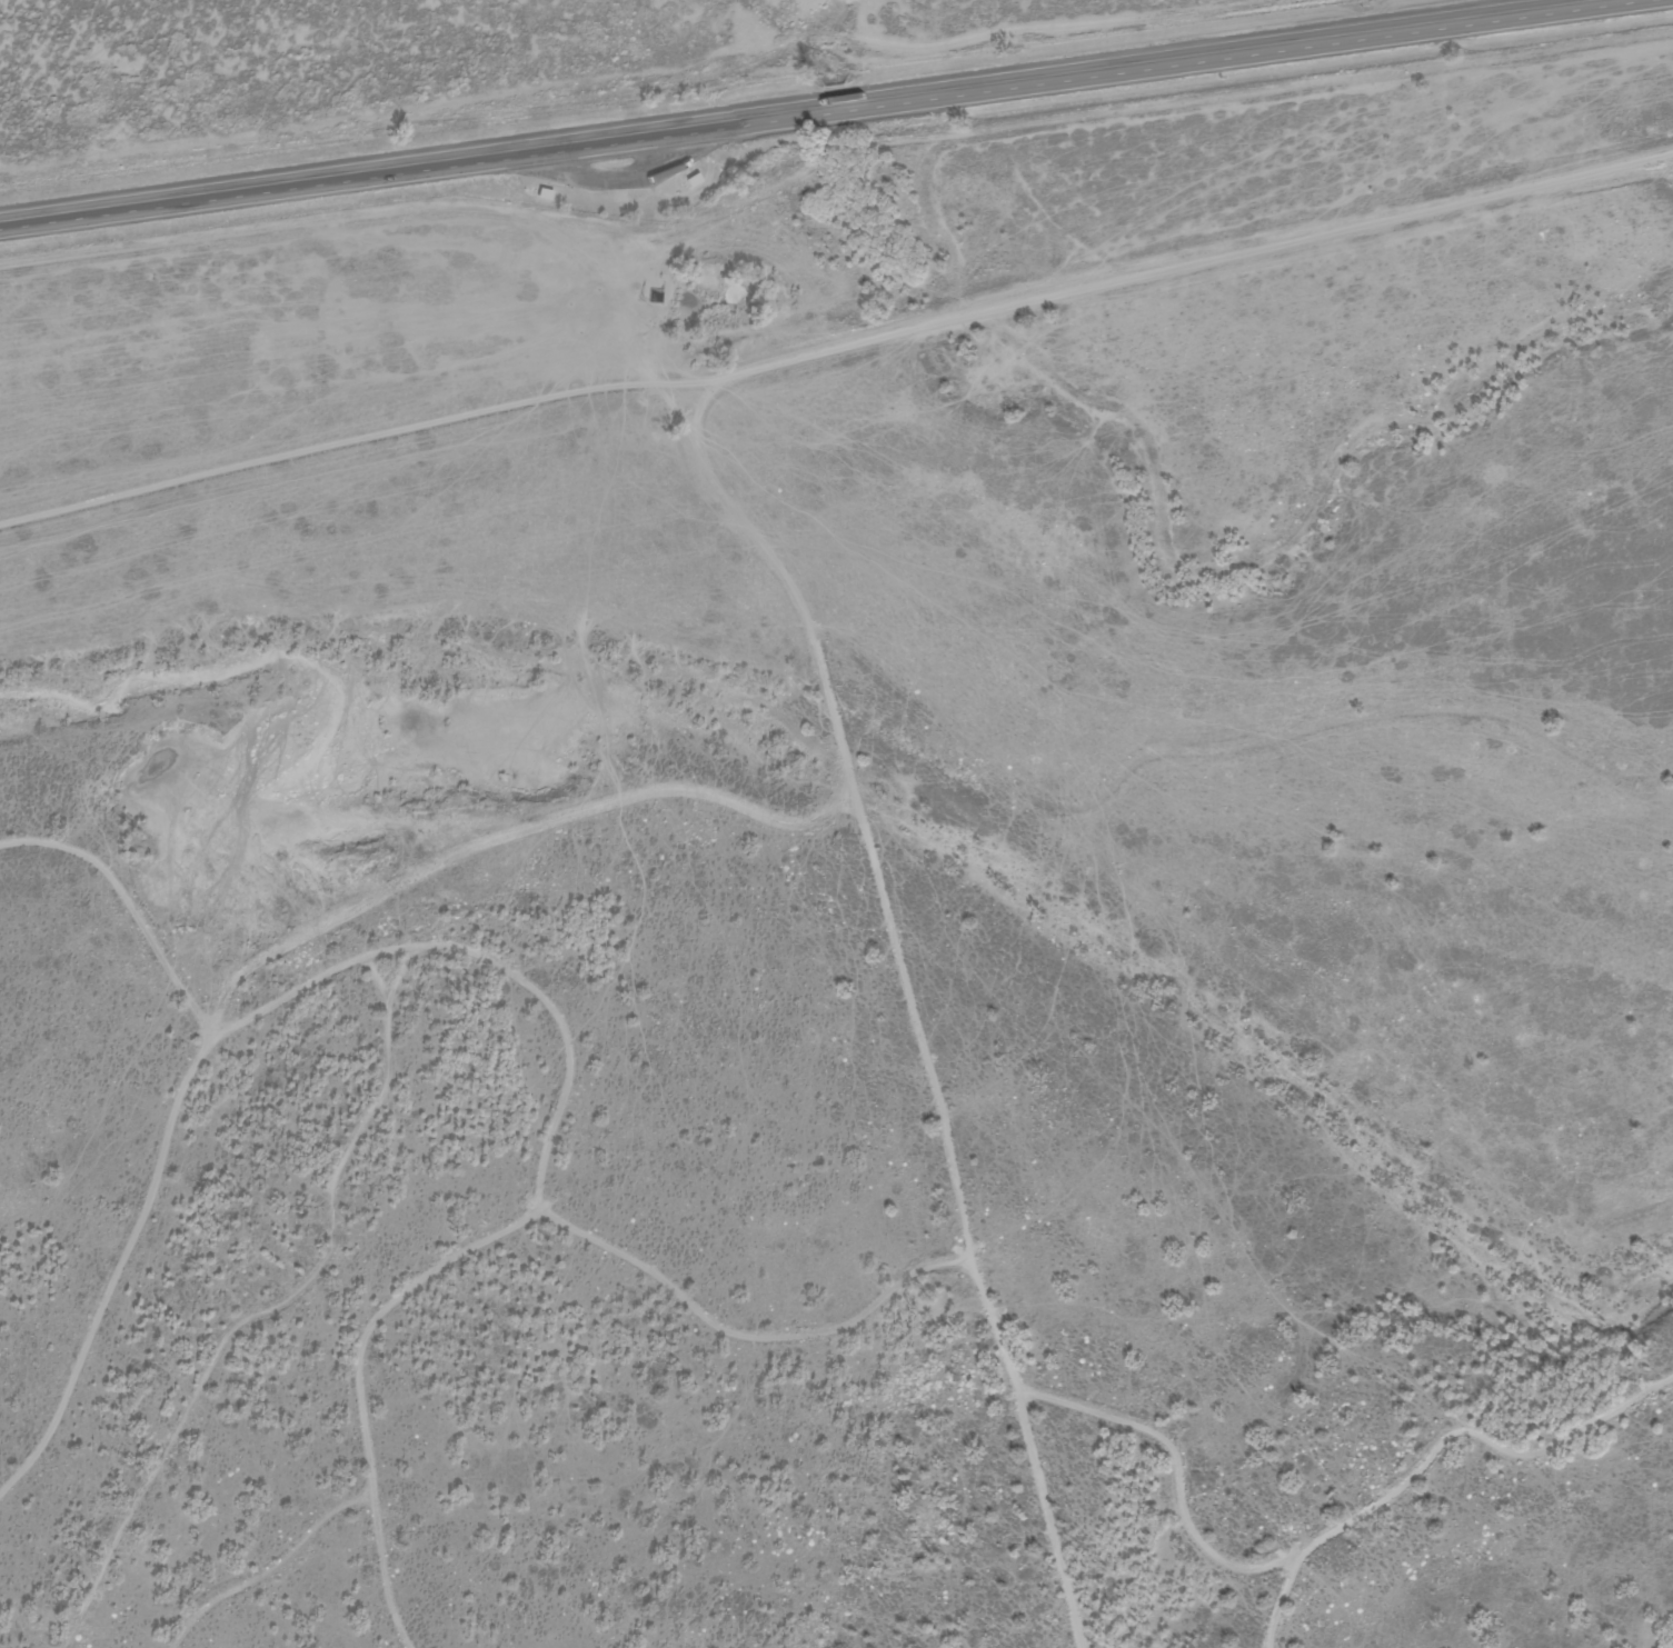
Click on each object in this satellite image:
road: (650, 88)
road: (817, 108)
building: (691, 179)
building: (542, 192)
building: (656, 294)
storage tank: (656, 294)
road: (838, 348)
river: (879, 357)
road: (912, 995)
road: (1435, 1451)

